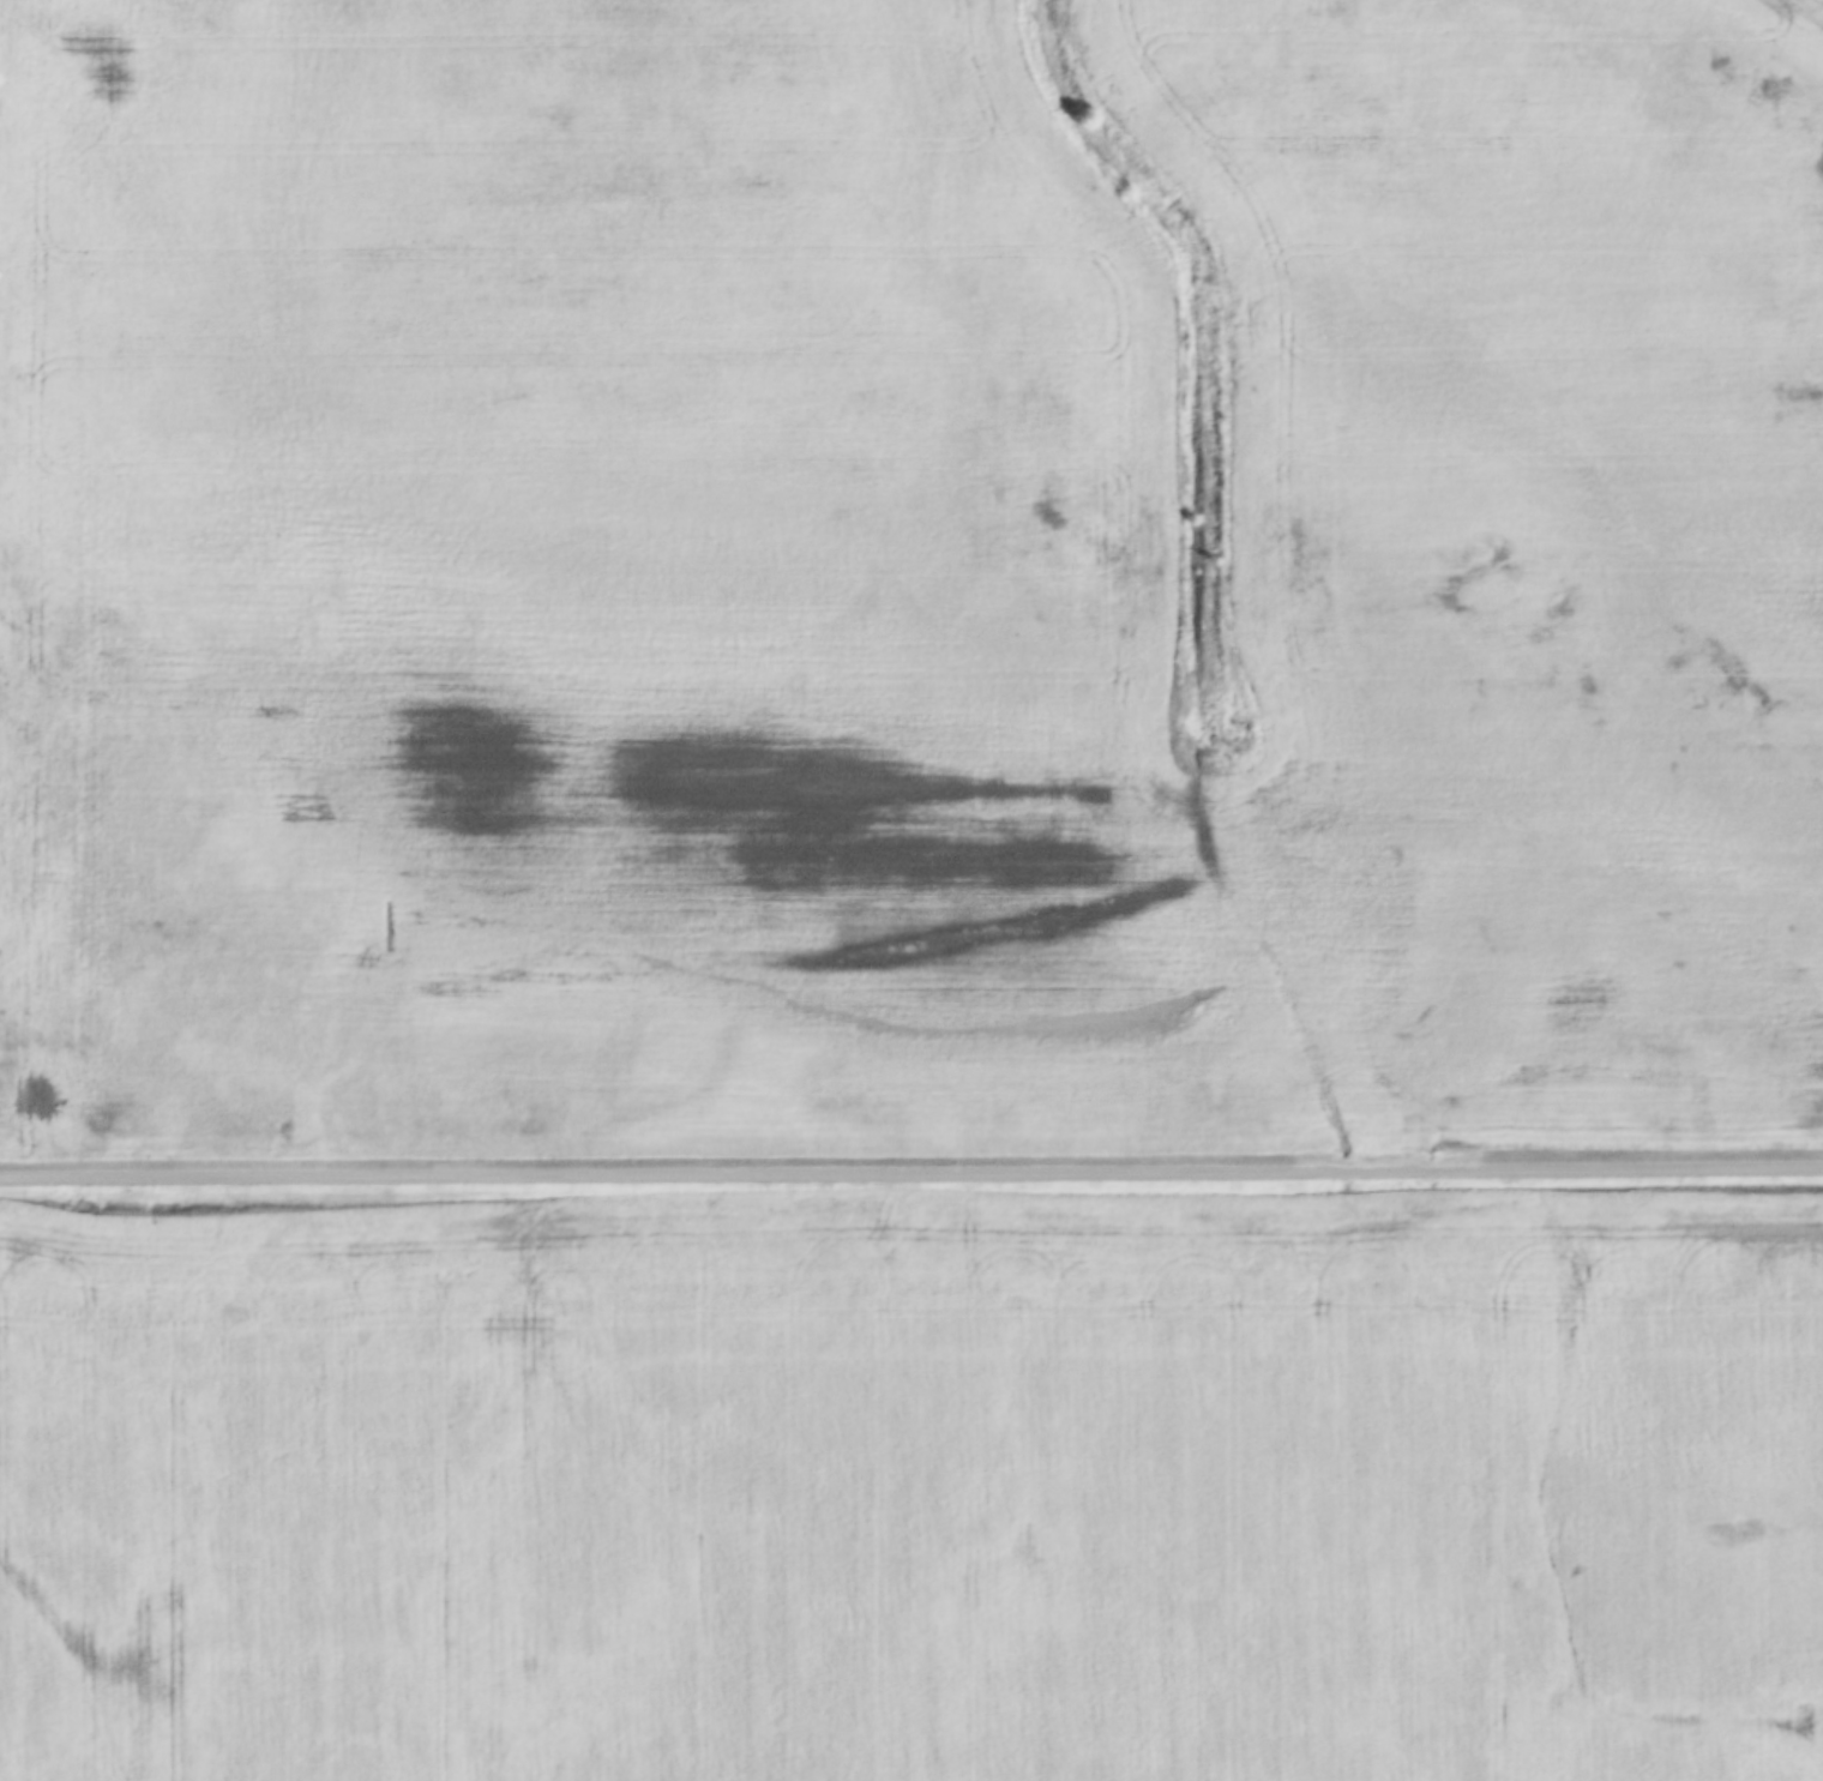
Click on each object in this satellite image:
road: (911, 1179)

